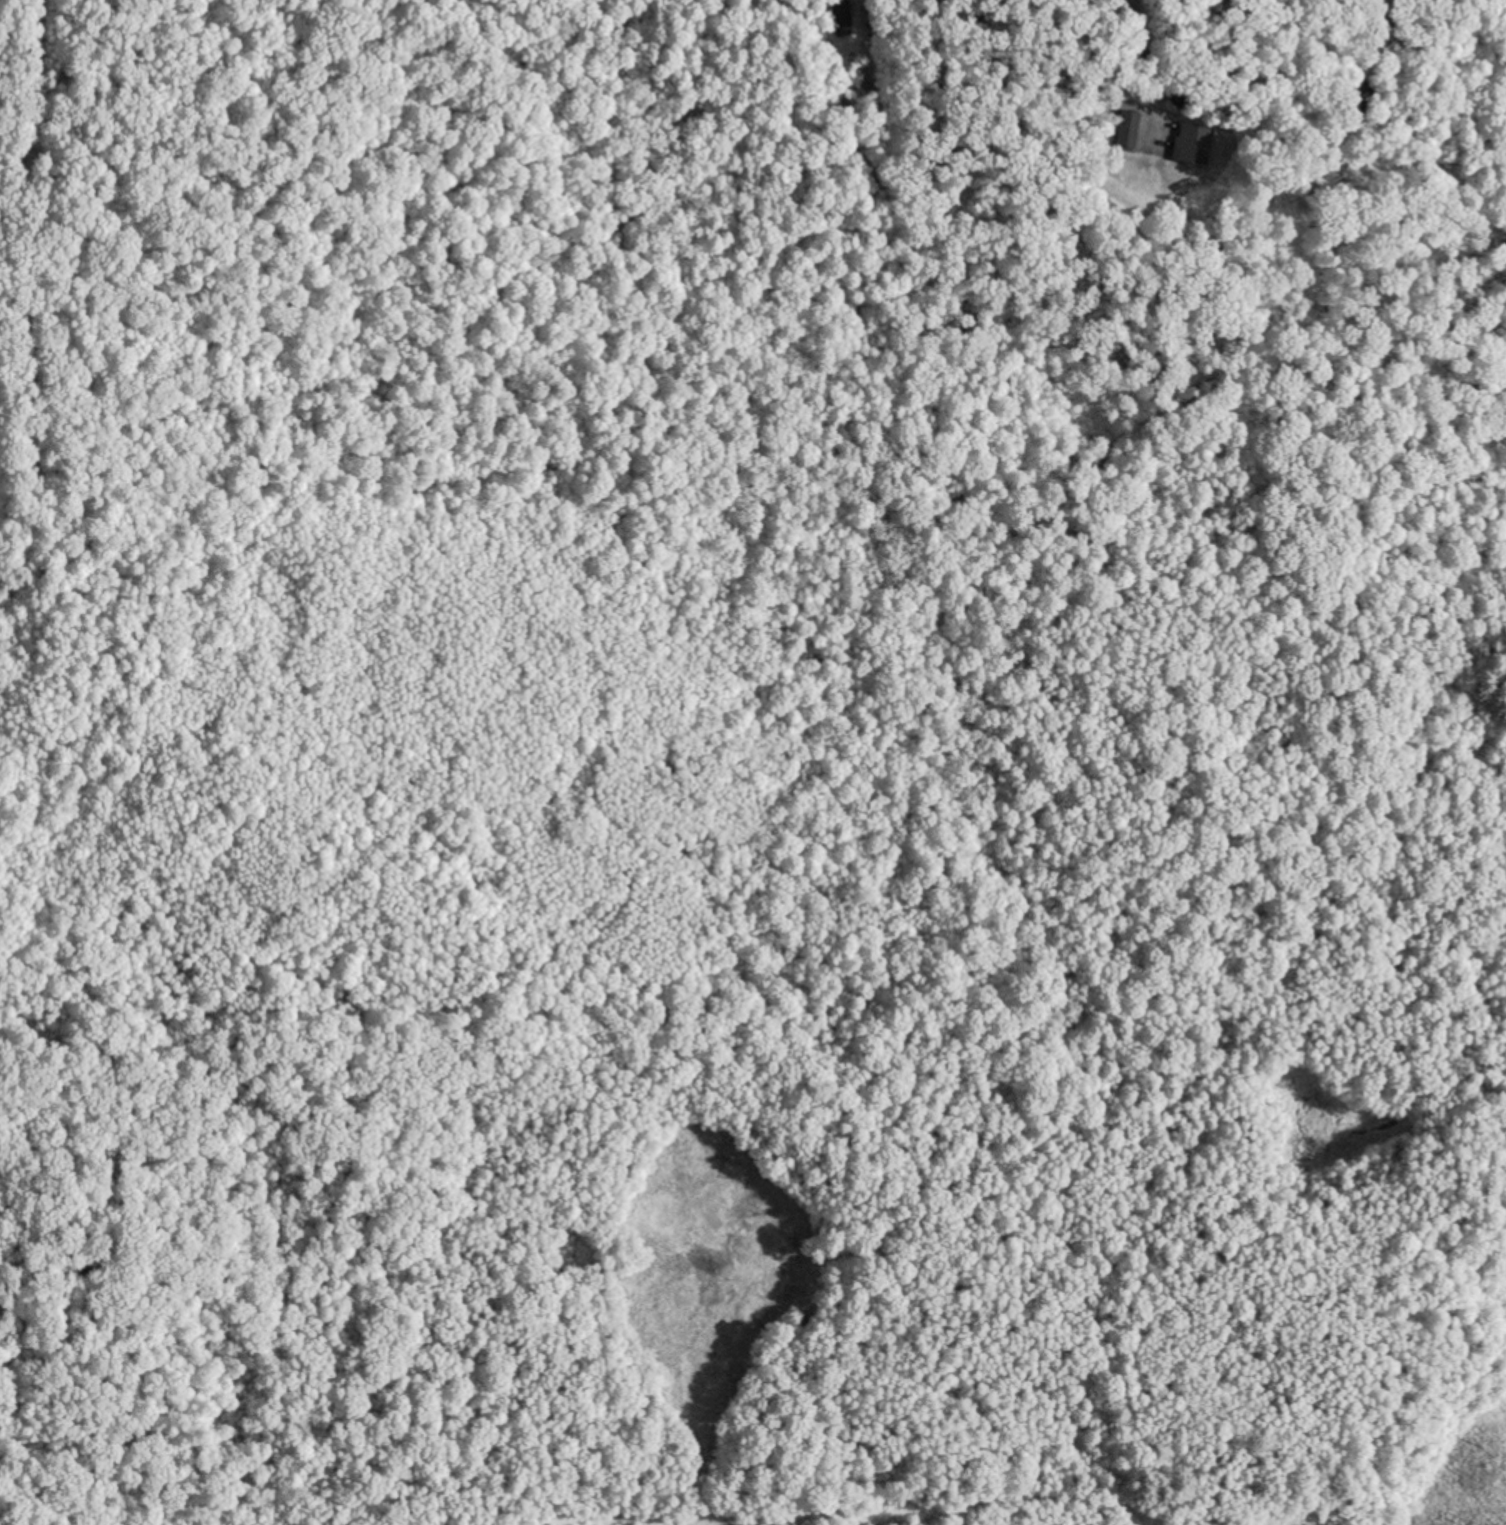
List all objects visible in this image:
building: (841, 17)
road: (36, 87)
building: (1192, 144)

